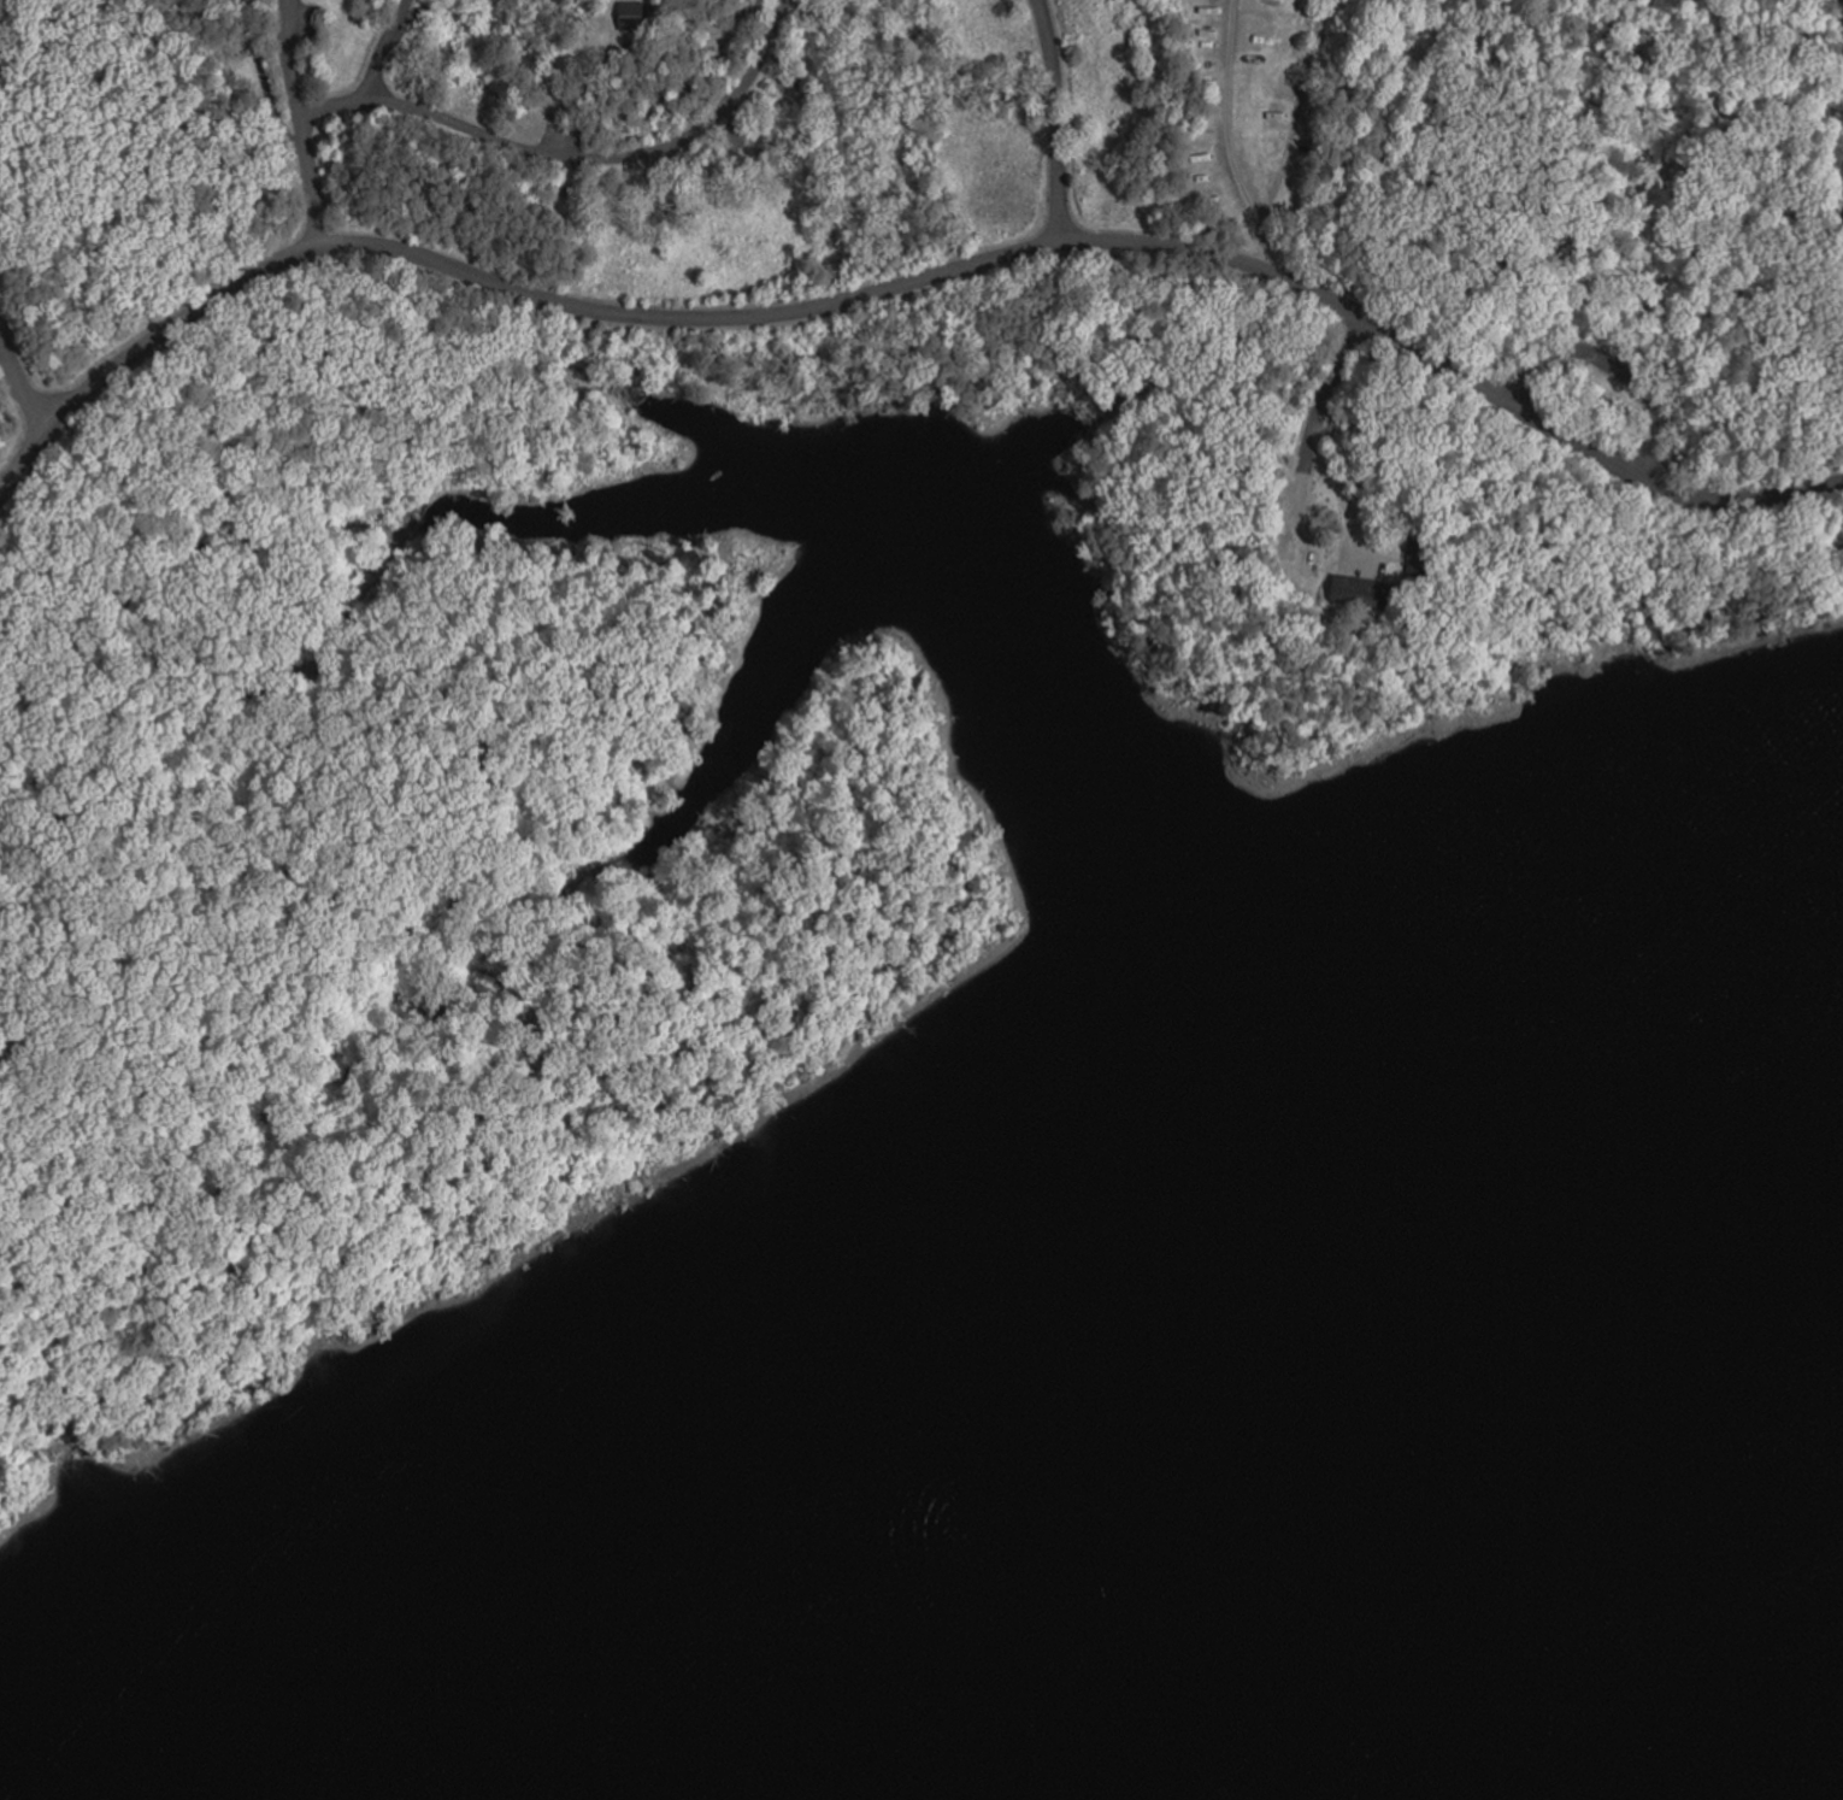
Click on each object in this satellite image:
building: (628, 17)
building: (787, 92)
road: (331, 100)
road: (1056, 119)
road: (300, 122)
road: (1229, 139)
road: (554, 152)
road: (487, 277)
road: (1618, 361)
road: (1453, 369)
road: (20, 382)
road: (1319, 430)
building: (1301, 564)
building: (1409, 564)
building: (1352, 593)

